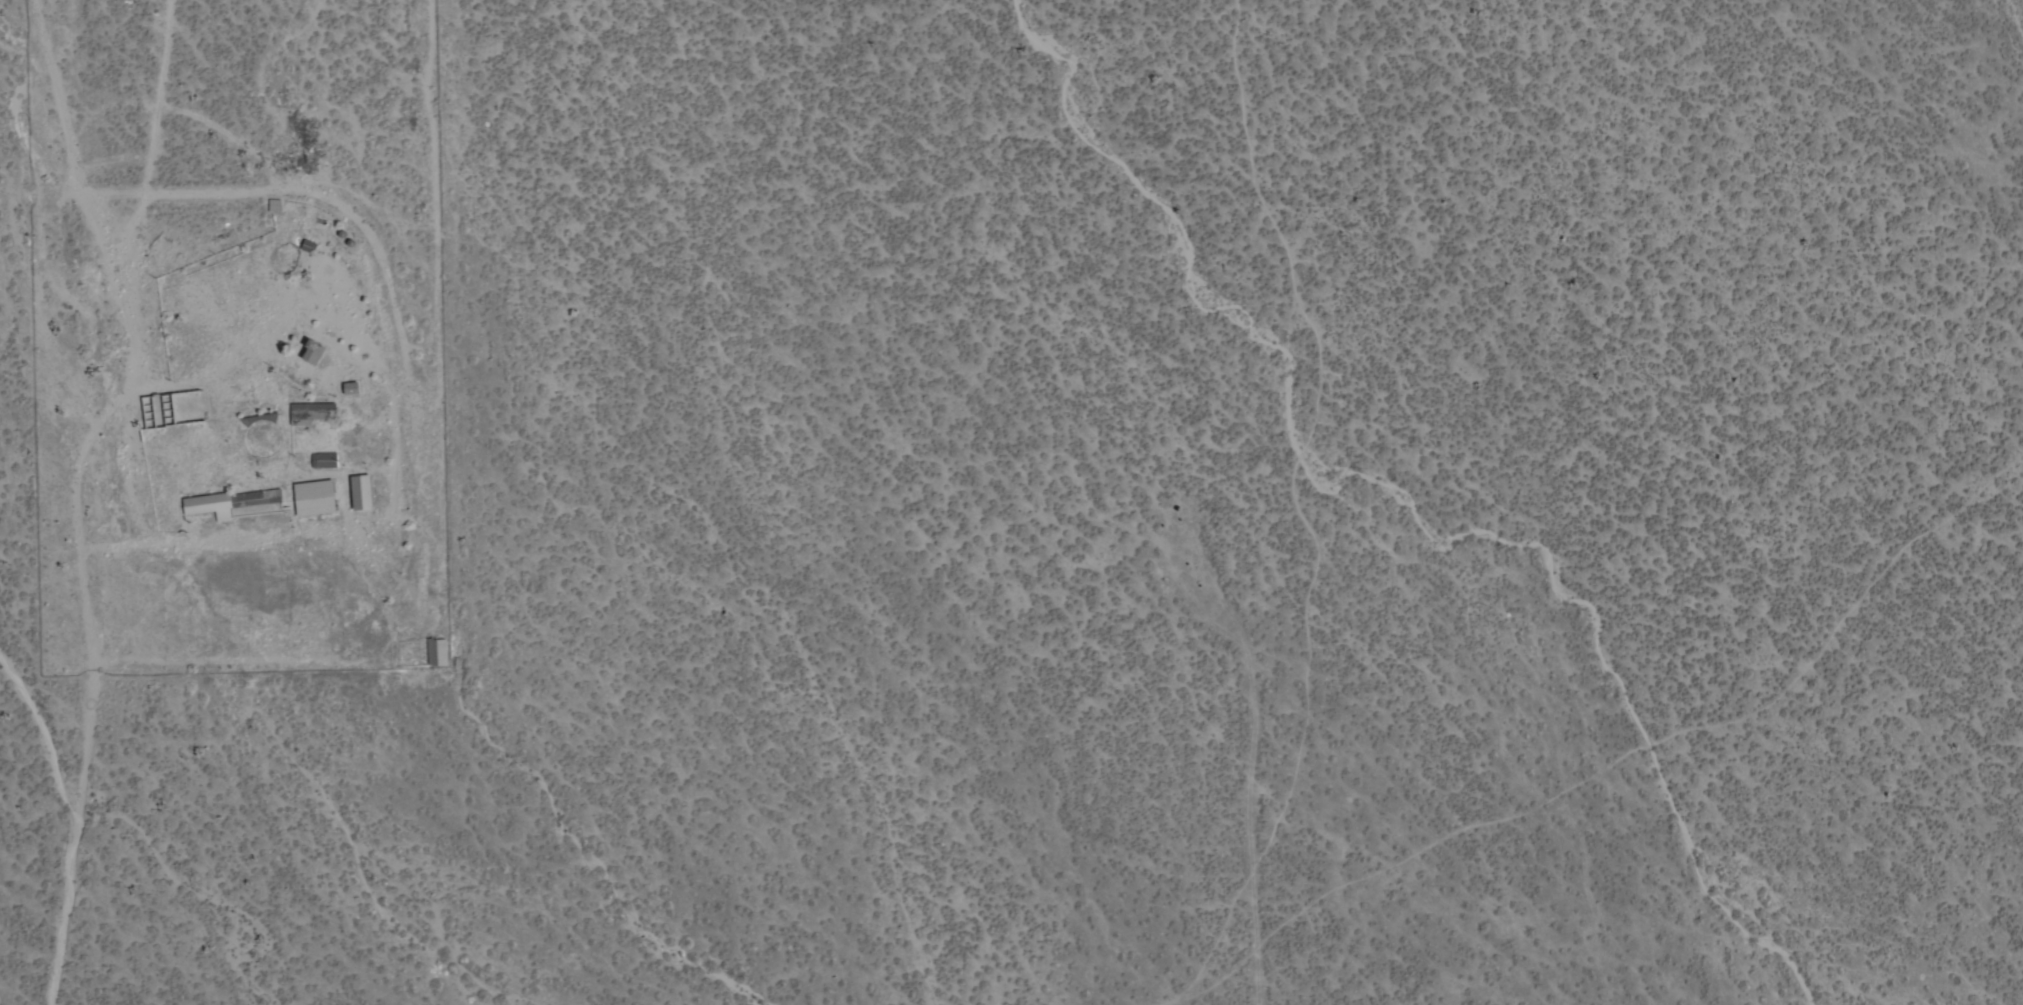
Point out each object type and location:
building: (315, 354)
building: (352, 390)
building: (362, 494)
road: (81, 495)
building: (315, 499)
building: (236, 505)
building: (437, 654)

